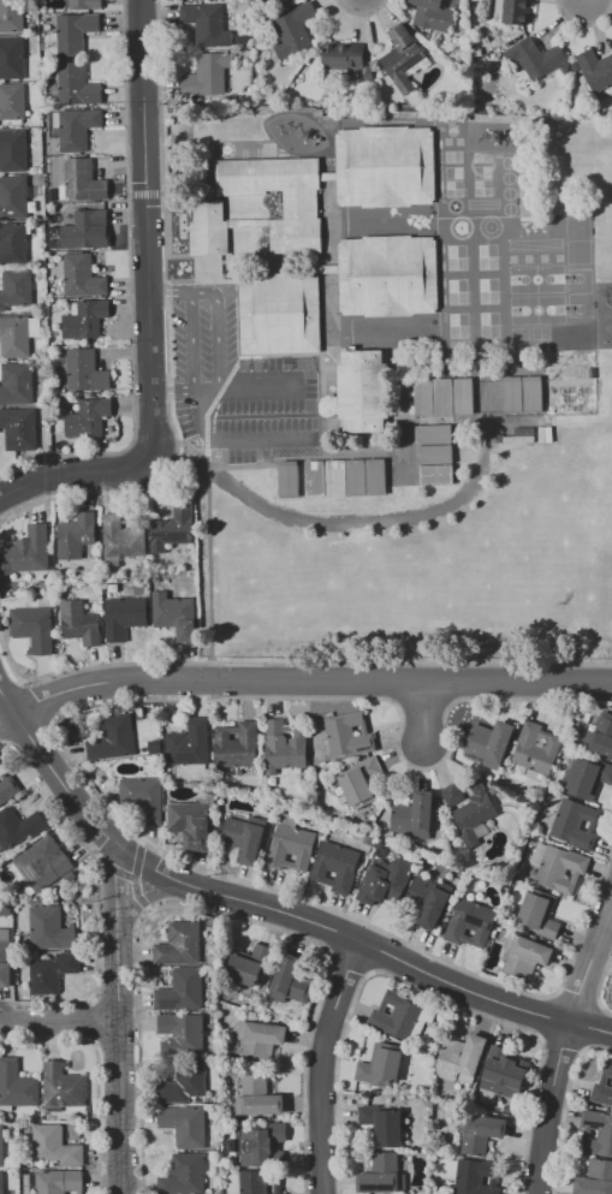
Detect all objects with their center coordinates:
building: (85, 4)
building: (513, 11)
road: (360, 13)
building: (433, 14)
building: (11, 16)
building: (207, 23)
road: (583, 24)
building: (295, 29)
building: (75, 32)
building: (344, 55)
building: (536, 57)
building: (12, 58)
building: (404, 58)
building: (595, 70)
building: (208, 73)
building: (77, 84)
building: (12, 101)
park: (451, 126)
building: (77, 127)
road: (160, 138)
building: (13, 150)
park: (453, 155)
park: (482, 155)
park: (509, 161)
building: (385, 166)
park: (482, 171)
park: (454, 172)
park: (509, 177)
building: (83, 179)
park: (483, 188)
park: (454, 189)
park: (509, 192)
road: (144, 194)
building: (13, 197)
building: (301, 207)
park: (510, 208)
flagpole: (182, 218)
flagpole: (182, 226)
road: (148, 227)
building: (87, 230)
building: (208, 230)
flagpole: (182, 234)
park: (577, 239)
building: (13, 243)
park: (488, 255)
park: (457, 256)
building: (83, 275)
building: (388, 275)
park: (537, 279)
park: (580, 280)
building: (17, 289)
road: (129, 290)
park: (458, 290)
park: (488, 290)
road: (170, 293)
park: (580, 304)
park: (537, 309)
building: (280, 313)
building: (85, 317)
park: (489, 323)
park: (459, 325)
road: (219, 327)
park: (519, 332)
park: (541, 332)
building: (18, 334)
road: (191, 343)
park: (493, 343)
park: (456, 344)
park: (542, 344)
road: (238, 367)
building: (87, 372)
building: (17, 384)
parking lot: (238, 386)
road: (250, 388)
building: (364, 391)
road: (173, 392)
building: (522, 393)
building: (464, 396)
building: (424, 397)
building: (444, 397)
building: (88, 418)
building: (19, 428)
building: (434, 434)
road: (231, 444)
road: (191, 445)
building: (434, 453)
road: (172, 465)
building: (391, 467)
road: (73, 473)
building: (376, 476)
building: (405, 476)
building: (414, 476)
building: (356, 477)
building: (287, 479)
building: (315, 479)
building: (335, 479)
building: (391, 483)
building: (173, 528)
building: (77, 535)
building: (121, 540)
building: (30, 556)
building: (174, 614)
building: (124, 617)
building: (81, 623)
building: (34, 625)
road: (292, 663)
road: (308, 679)
road: (426, 713)
road: (6, 718)
building: (350, 733)
building: (601, 735)
building: (113, 738)
building: (493, 739)
building: (189, 743)
building: (238, 744)
building: (285, 745)
building: (536, 752)
building: (587, 778)
building: (362, 782)
building: (8, 788)
building: (144, 797)
building: (470, 809)
building: (415, 815)
building: (191, 822)
building: (576, 822)
building: (19, 826)
building: (244, 839)
building: (292, 848)
road: (136, 860)
building: (42, 866)
road: (113, 867)
building: (337, 867)
building: (562, 868)
building: (386, 880)
road: (115, 896)
road: (138, 896)
road: (149, 896)
building: (429, 901)
road: (273, 907)
building: (5, 909)
building: (539, 913)
road: (220, 914)
building: (471, 923)
building: (50, 928)
building: (180, 944)
building: (525, 956)
building: (6, 957)
road: (590, 962)
building: (249, 964)
road: (347, 964)
building: (52, 972)
building: (291, 981)
road: (598, 984)
building: (182, 990)
road: (421, 990)
building: (396, 1015)
building: (422, 1018)
road: (58, 1020)
building: (183, 1030)
building: (257, 1040)
road: (560, 1042)
building: (461, 1058)
road: (320, 1064)
building: (381, 1064)
road: (118, 1069)
building: (504, 1073)
building: (602, 1083)
building: (17, 1085)
building: (185, 1085)
building: (63, 1087)
building: (257, 1097)
road: (564, 1105)
road: (549, 1106)
building: (185, 1124)
building: (384, 1124)
building: (481, 1131)
building: (605, 1134)
building: (262, 1143)
building: (55, 1145)
building: (1, 1146)
building: (185, 1175)
building: (384, 1175)
building: (475, 1177)
building: (595, 1178)
building: (59, 1181)
building: (259, 1181)
building: (2, 1184)

